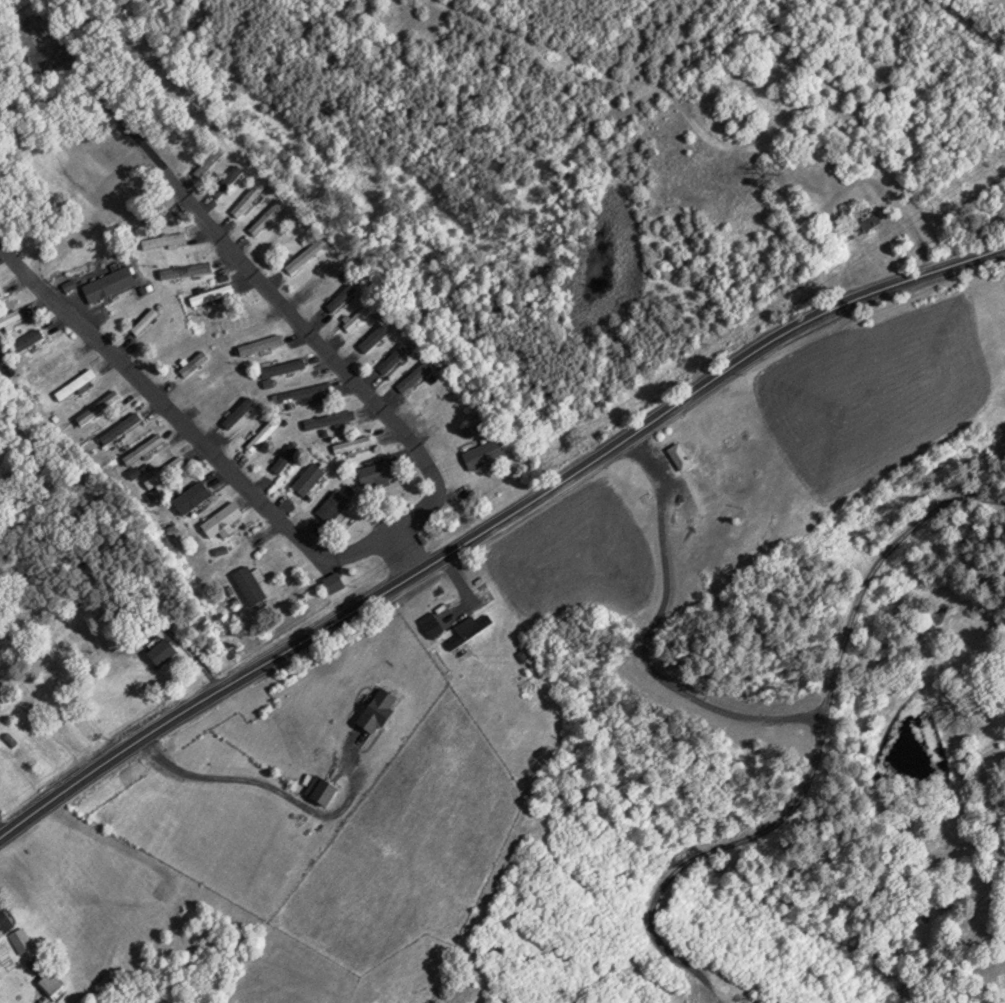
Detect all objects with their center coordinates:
building: (741, 119)
building: (210, 159)
building: (227, 179)
building: (249, 197)
building: (266, 216)
building: (865, 223)
building: (305, 256)
building: (186, 271)
building: (111, 284)
building: (211, 293)
building: (341, 298)
road: (285, 307)
building: (9, 317)
building: (357, 317)
building: (146, 319)
building: (236, 321)
building: (261, 345)
building: (396, 358)
building: (59, 359)
building: (194, 363)
building: (282, 370)
building: (414, 377)
building: (76, 384)
building: (215, 387)
building: (303, 393)
building: (98, 407)
building: (238, 412)
building: (330, 421)
building: (120, 427)
road: (186, 427)
building: (262, 435)
building: (352, 445)
building: (144, 449)
building: (488, 453)
building: (284, 458)
building: (165, 472)
building: (375, 474)
building: (309, 479)
building: (198, 490)
building: (333, 506)
building: (219, 522)
road: (495, 528)
road: (408, 554)
building: (337, 583)
building: (252, 585)
building: (435, 626)
building: (471, 629)
building: (164, 651)
road: (272, 789)
road: (4, 829)
building: (6, 920)
building: (23, 940)
building: (52, 982)

